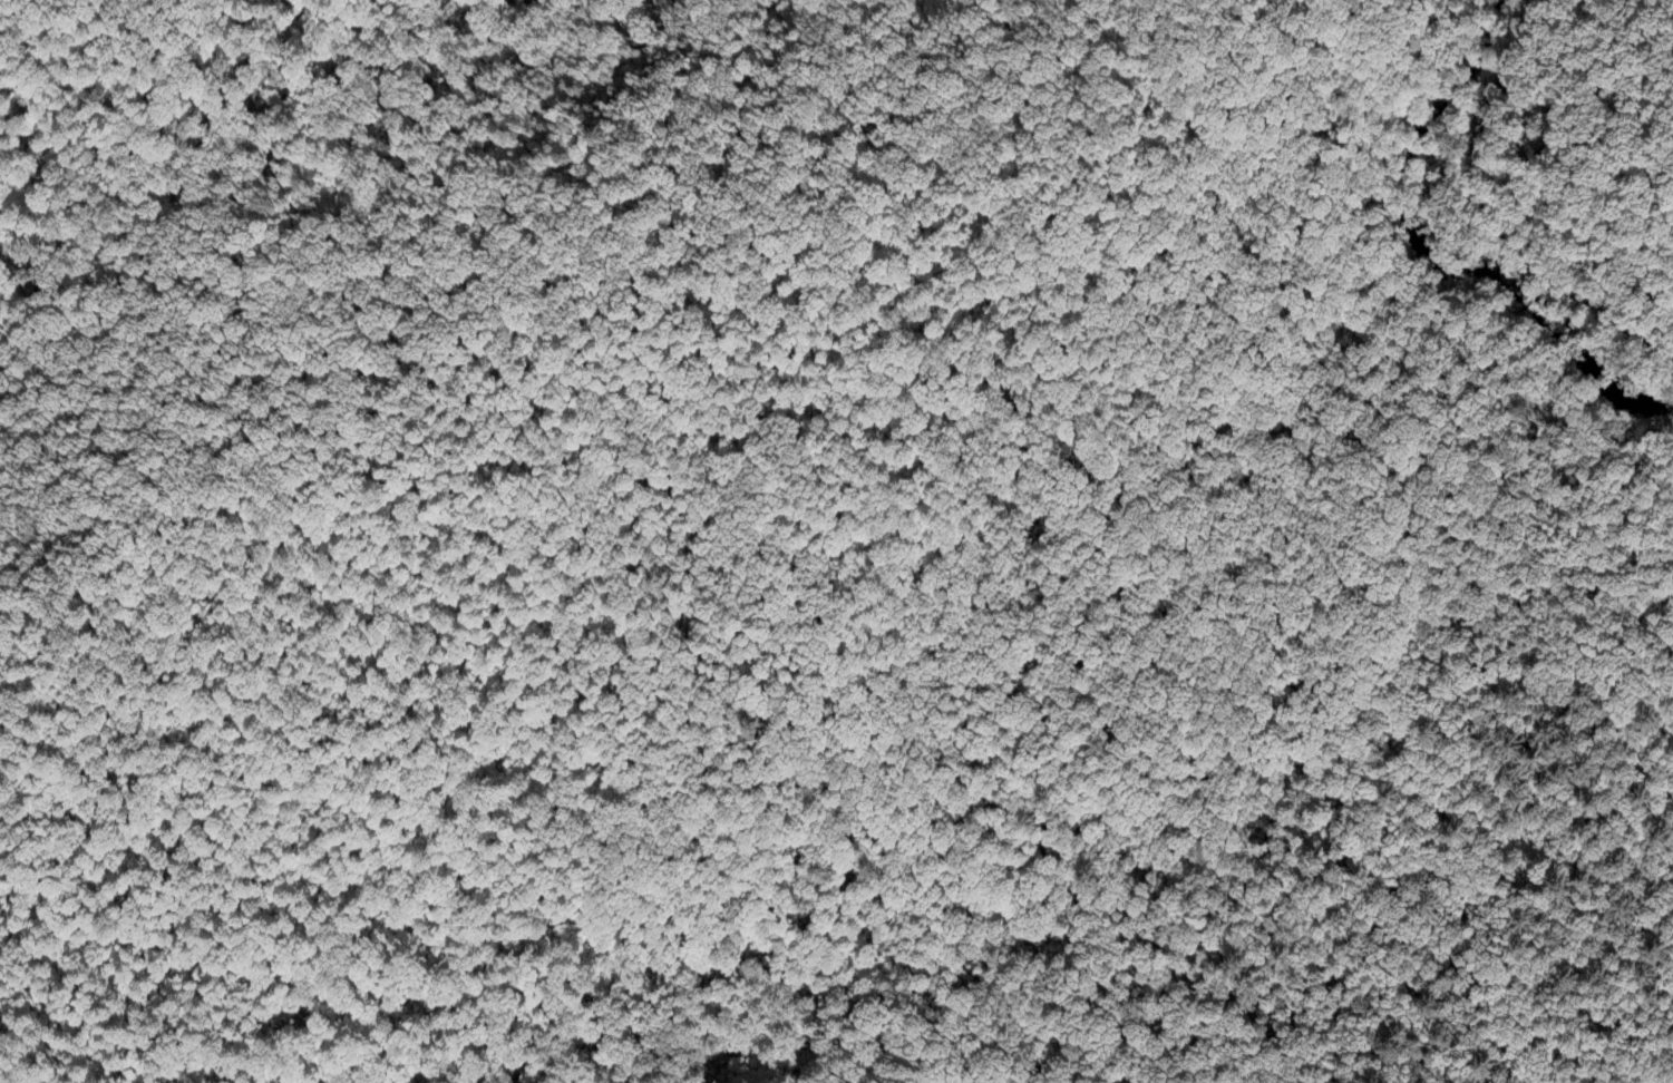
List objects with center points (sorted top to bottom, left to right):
road: (1491, 213)

